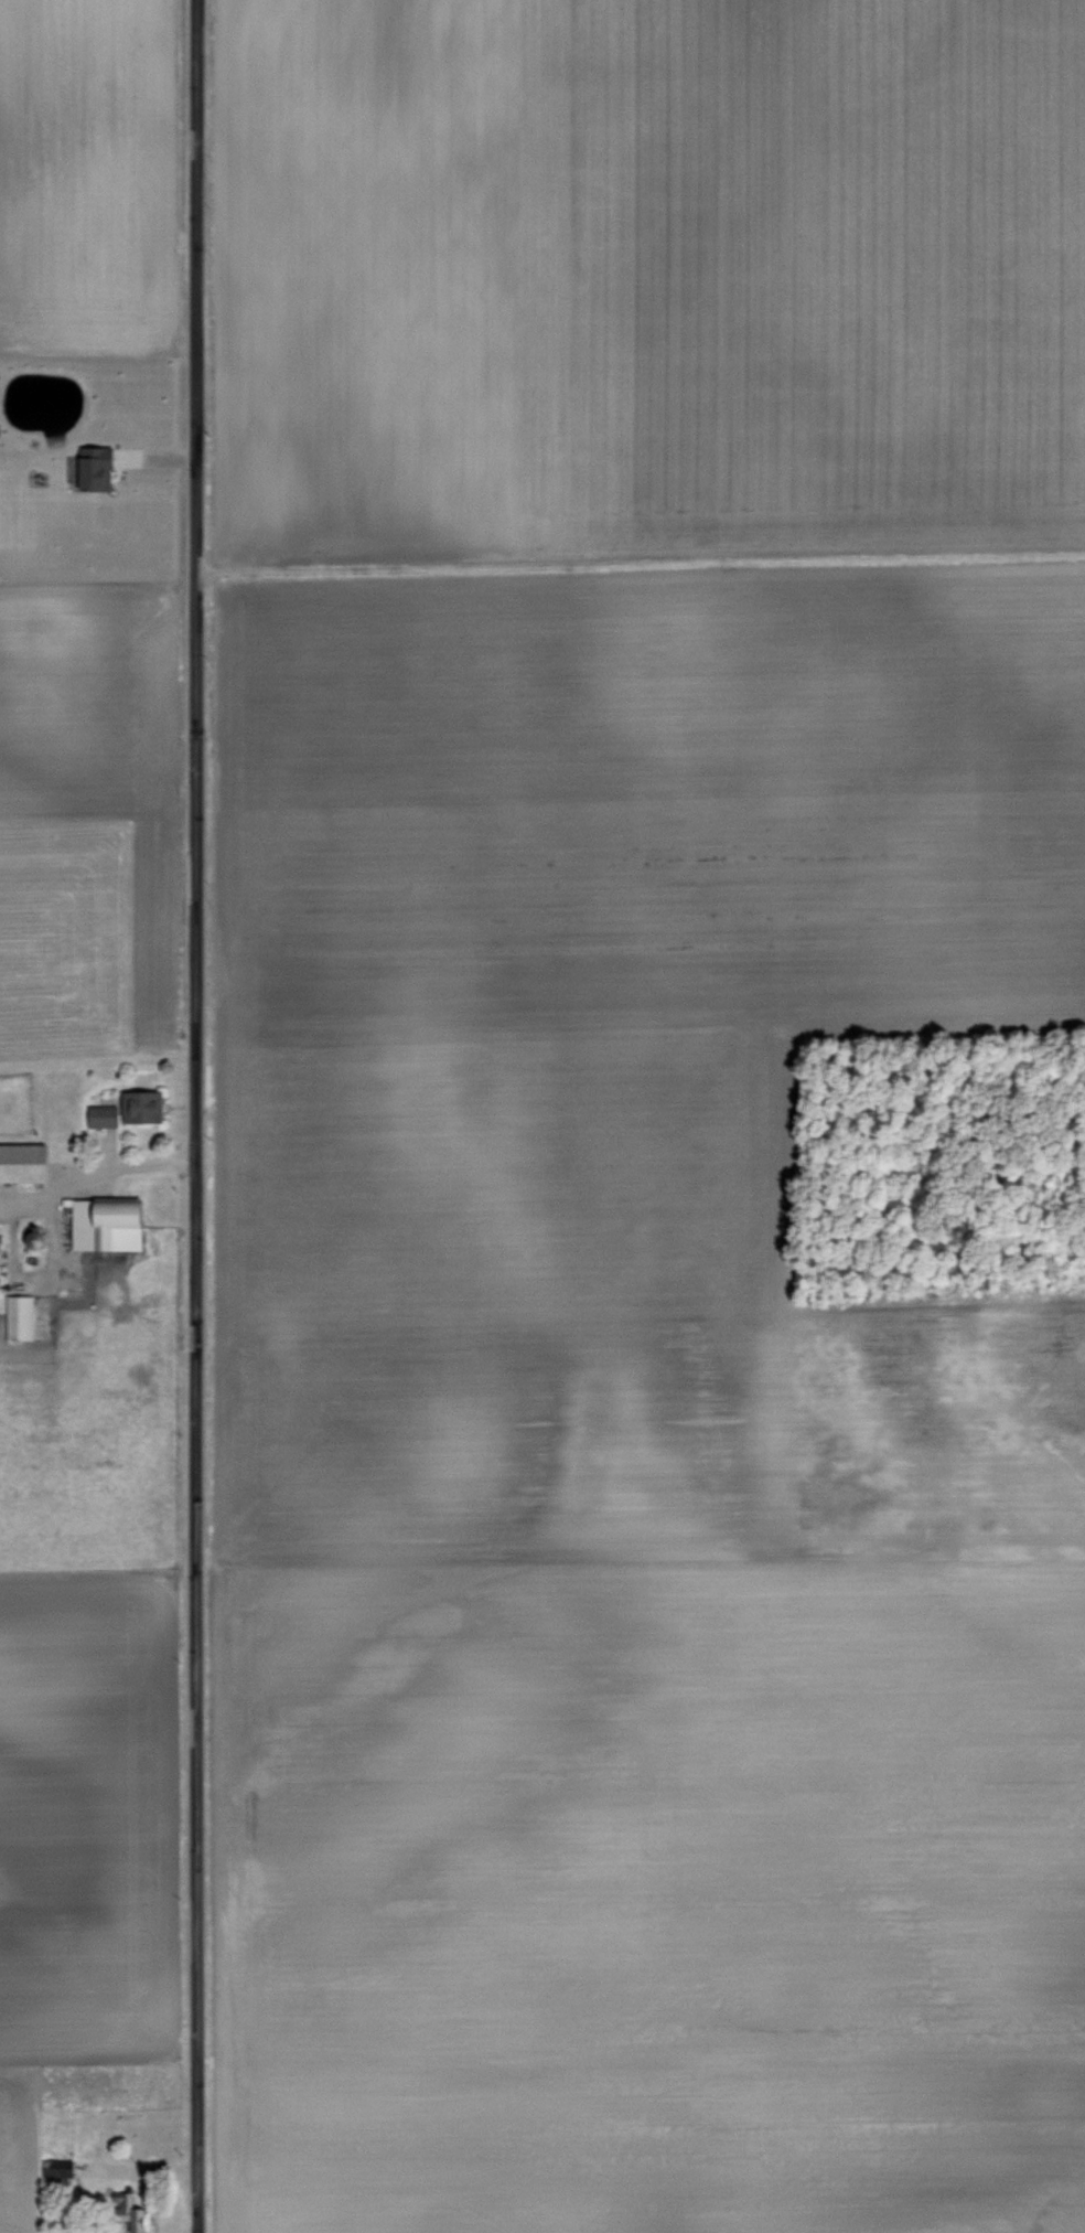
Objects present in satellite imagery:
building: (86, 466)
building: (121, 1109)
road: (190, 1115)
building: (21, 1162)
road: (93, 1169)
building: (99, 1224)
building: (15, 1316)

